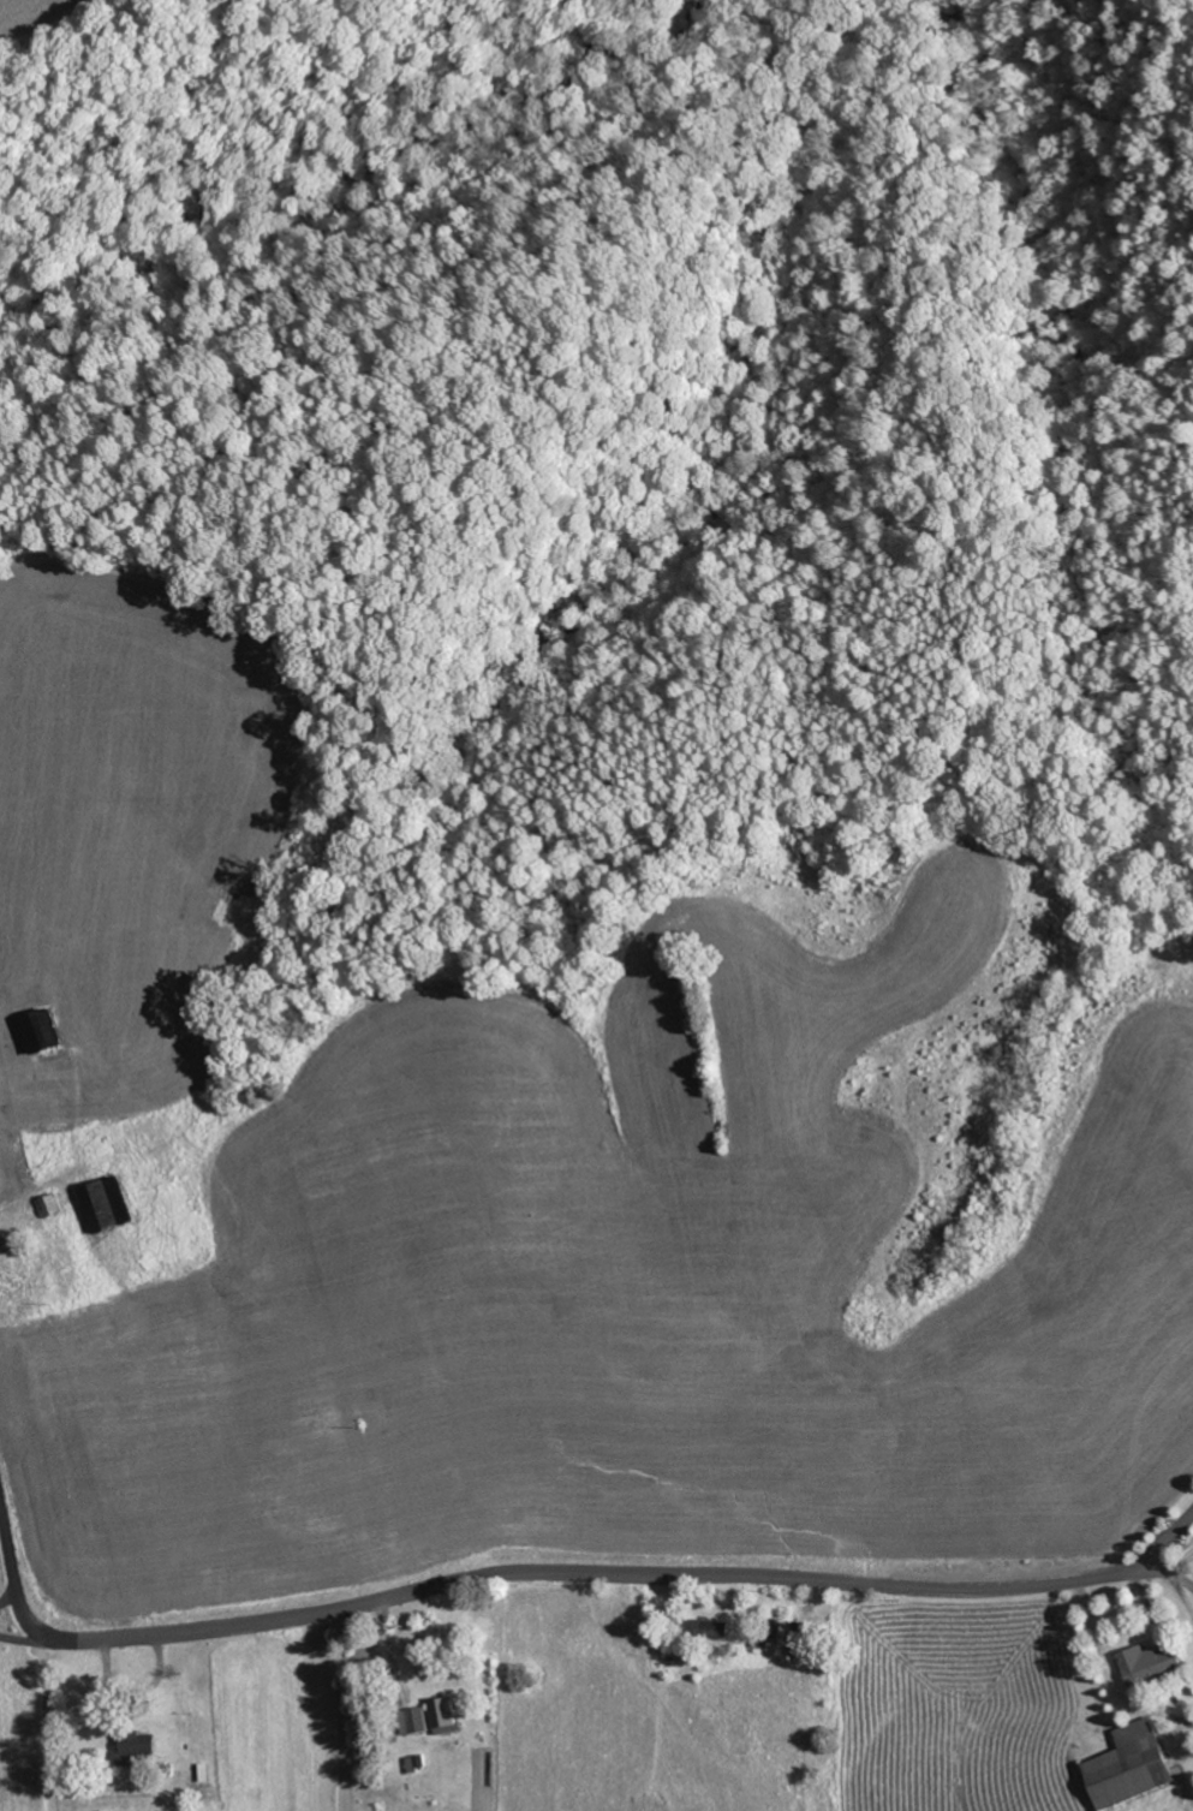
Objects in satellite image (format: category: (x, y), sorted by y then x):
road: (1169, 1541)
road: (8, 1559)
road: (596, 1579)
road: (19, 1615)
building: (715, 1630)
building: (809, 1639)
building: (1152, 1664)
building: (446, 1716)
building: (420, 1721)
building: (1133, 1767)

